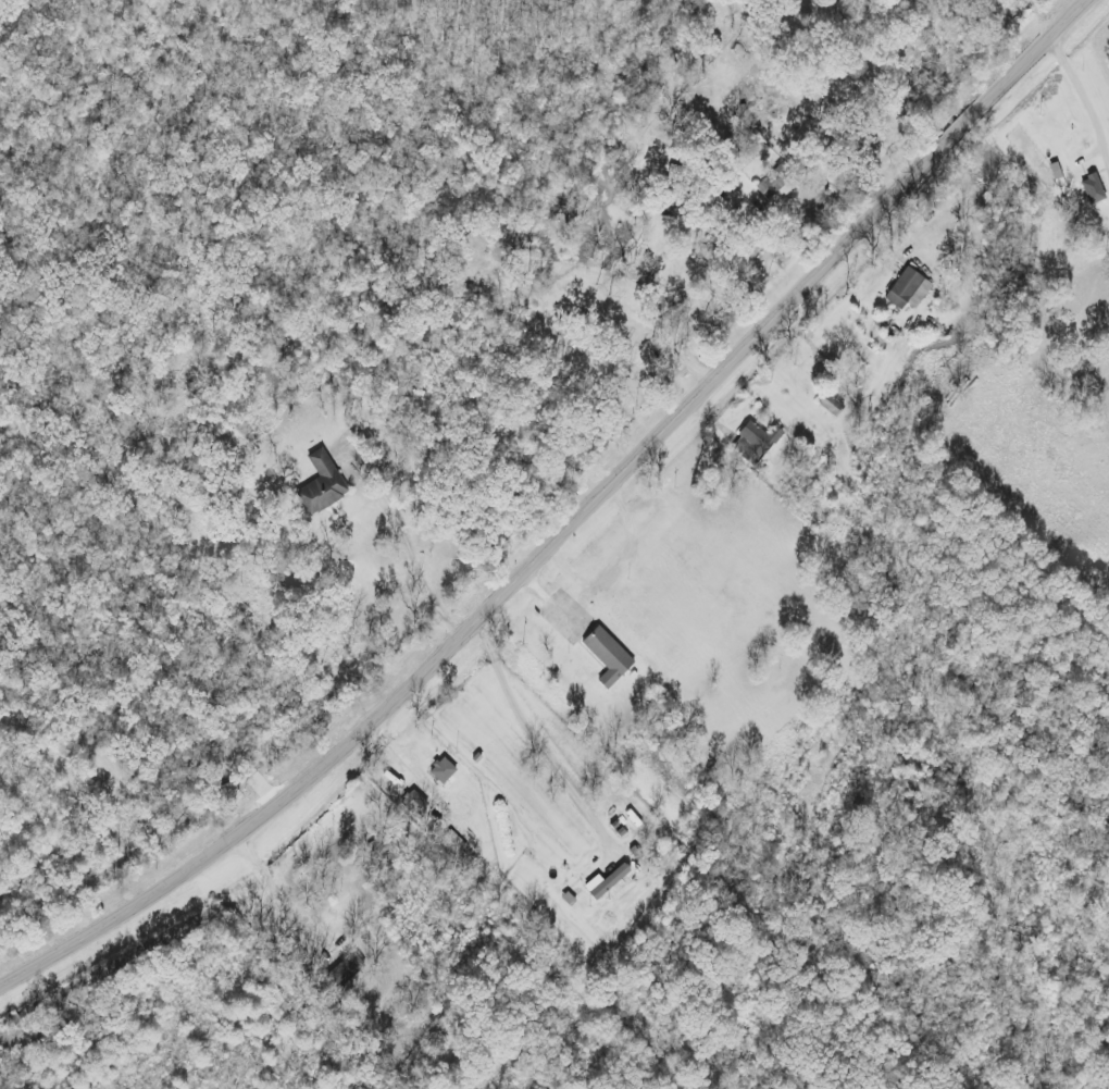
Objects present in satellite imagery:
road: (794, 96)
road: (1088, 101)
building: (1091, 189)
building: (907, 290)
building: (828, 405)
building: (753, 443)
building: (321, 484)
road: (572, 529)
road: (410, 547)
building: (606, 657)
road: (537, 735)
building: (440, 771)
building: (413, 806)
building: (454, 845)

